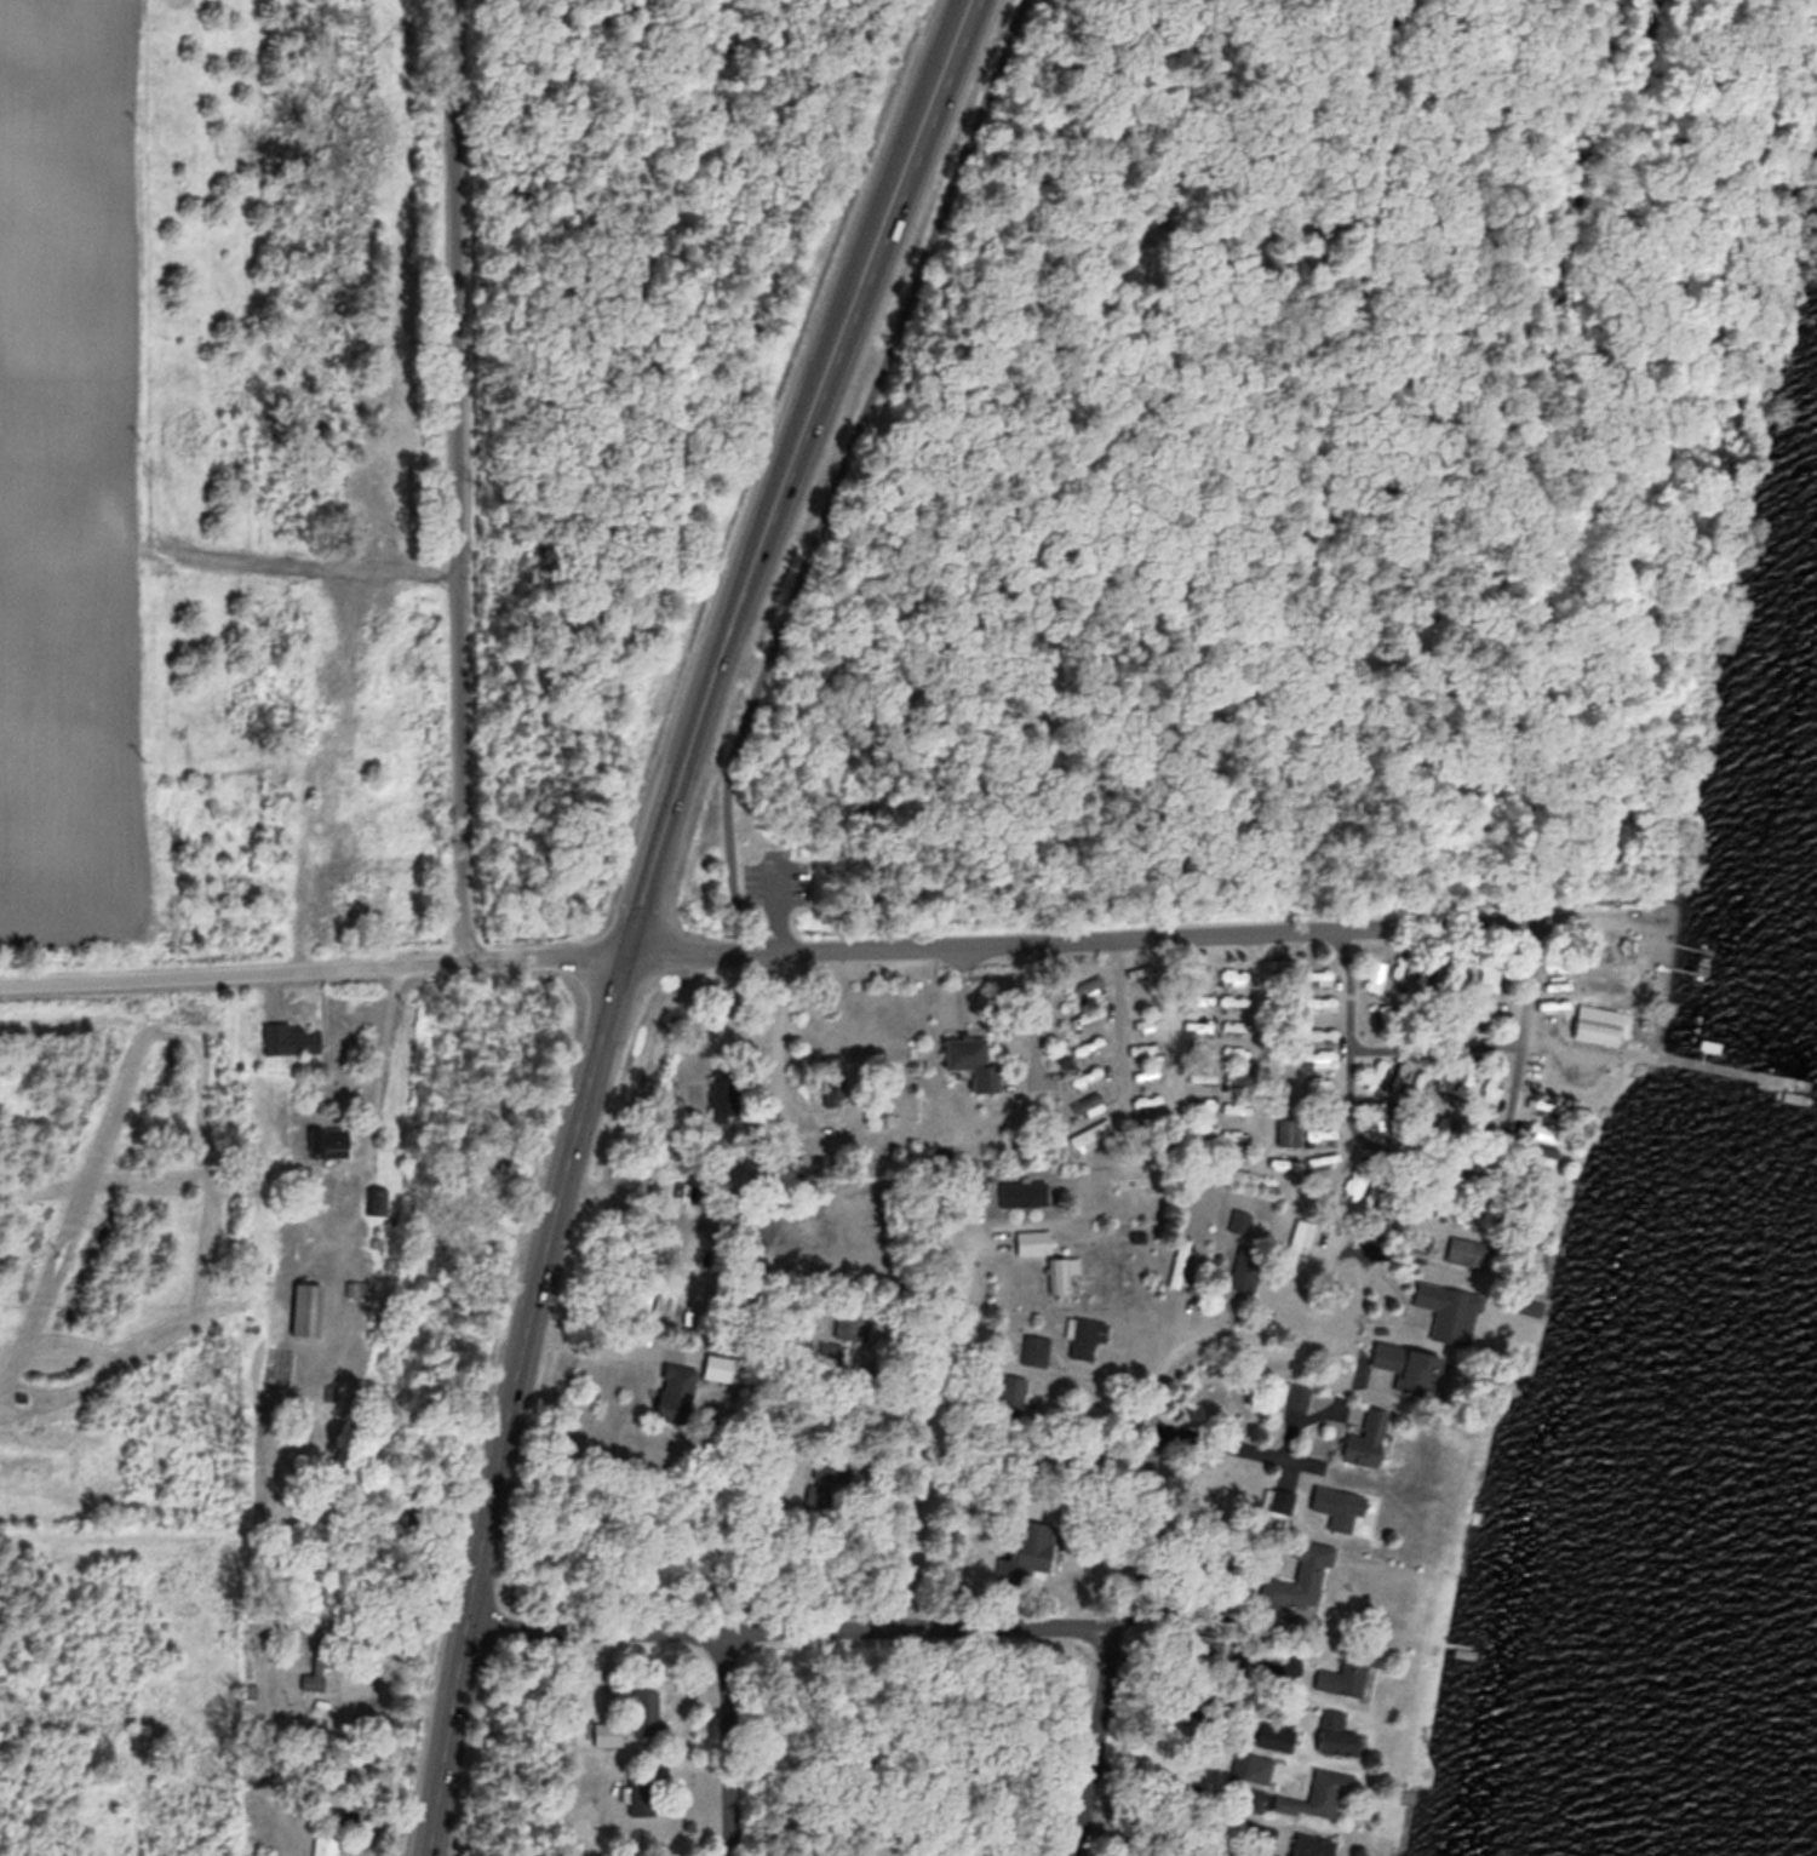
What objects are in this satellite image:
road: (888, 228)
road: (854, 453)
road: (453, 480)
road: (1377, 643)
road: (704, 701)
parking lot: (763, 872)
road: (773, 906)
road: (1079, 940)
building: (1559, 962)
road: (311, 966)
building: (1397, 970)
building: (1425, 970)
building: (1372, 973)
building: (1489, 973)
building: (1317, 974)
building: (1230, 975)
building: (1089, 986)
building: (1230, 999)
building: (1318, 1002)
building: (1382, 1013)
building: (1084, 1015)
building: (1484, 1015)
building: (1232, 1024)
building: (1599, 1024)
building: (1318, 1031)
building: (291, 1037)
road: (1496, 1042)
building: (1233, 1050)
building: (1314, 1054)
building: (973, 1060)
road: (379, 1064)
road: (774, 1066)
pier: (1738, 1071)
building: (1084, 1077)
building: (1378, 1077)
building: (1465, 1078)
building: (1236, 1079)
building: (1316, 1083)
road: (1265, 1088)
building: (1490, 1088)
building: (832, 1089)
building: (723, 1092)
building: (1091, 1102)
building: (1143, 1102)
building: (1549, 1107)
building: (1376, 1116)
building: (1542, 1128)
building: (1288, 1130)
building: (1091, 1133)
building: (1236, 1136)
building: (327, 1140)
road: (1380, 1146)
road: (1154, 1153)
building: (1285, 1159)
building: (1317, 1159)
building: (820, 1163)
building: (1351, 1178)
building: (1141, 1180)
building: (1372, 1182)
building: (1021, 1190)
building: (1399, 1190)
building: (374, 1198)
building: (1239, 1219)
building: (1374, 1227)
building: (1028, 1238)
building: (1299, 1241)
building: (1468, 1250)
building: (1180, 1261)
building: (1244, 1265)
building: (1057, 1271)
building: (305, 1306)
building: (1449, 1310)
building: (850, 1319)
building: (1084, 1334)
road: (1250, 1340)
building: (1033, 1347)
road: (611, 1348)
building: (717, 1364)
building: (1410, 1365)
building: (1011, 1388)
building: (676, 1390)
building: (1291, 1392)
road: (512, 1402)
building: (1364, 1432)
road: (936, 1439)
road: (1236, 1445)
building: (830, 1466)
building: (818, 1494)
building: (1278, 1499)
building: (1342, 1506)
building: (1026, 1549)
building: (1299, 1577)
road: (786, 1628)
building: (316, 1659)
road: (1196, 1673)
building: (1343, 1673)
road: (1100, 1683)
building: (644, 1711)
building: (607, 1731)
building: (1336, 1732)
road: (732, 1741)
building: (1254, 1768)
building: (640, 1792)
building: (1317, 1793)
road: (1143, 1840)
building: (325, 1844)
building: (1312, 1845)

